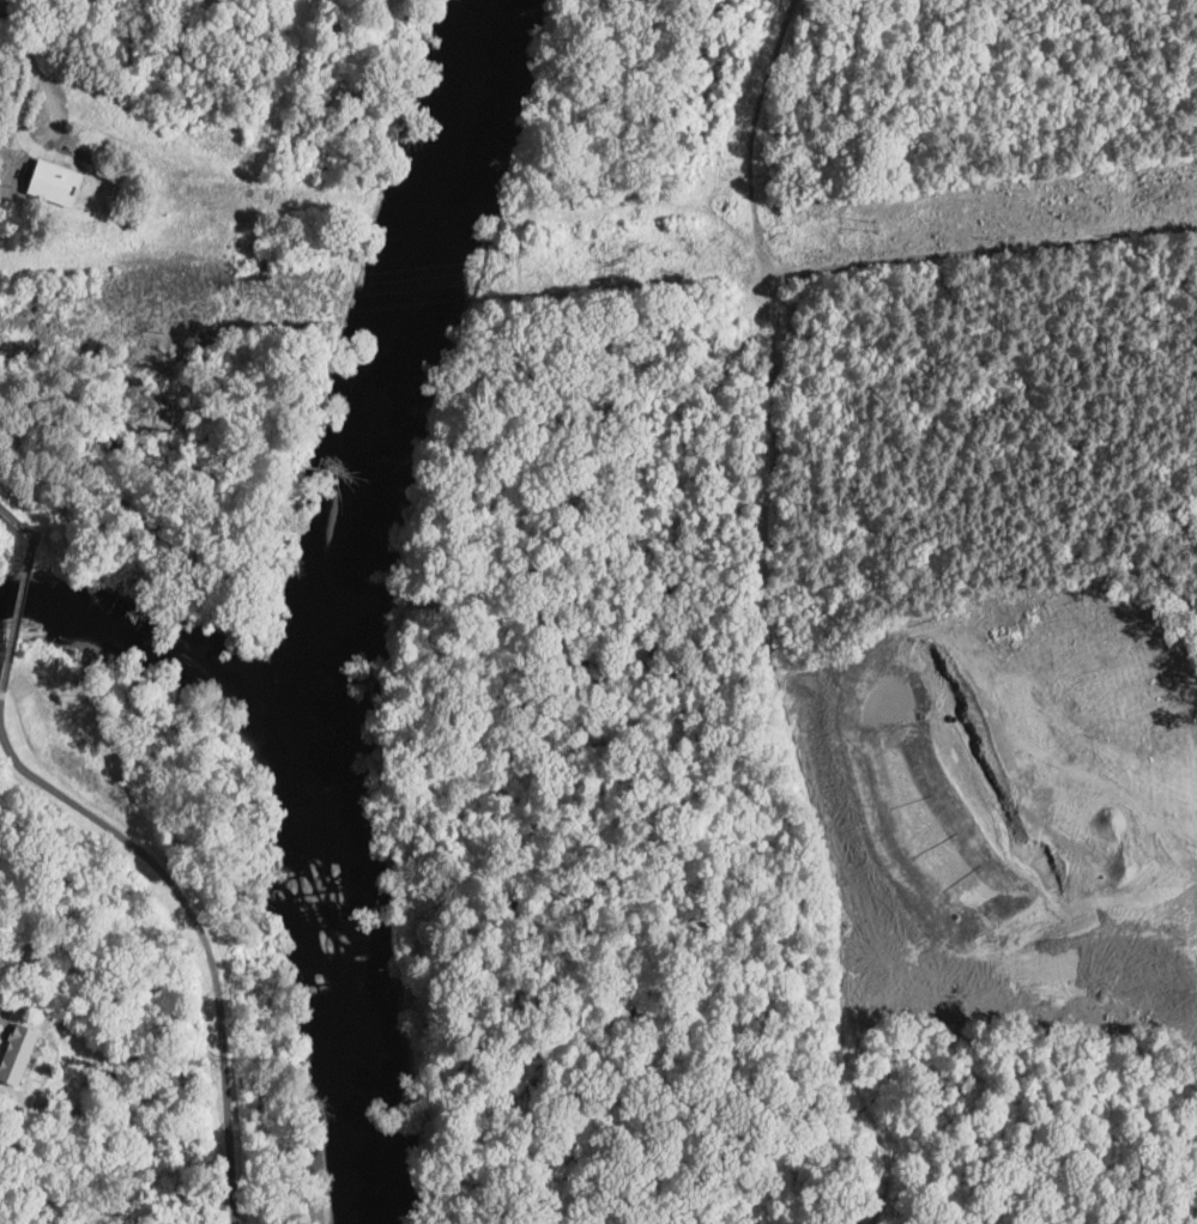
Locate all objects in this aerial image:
road: (268, 74)
road: (24, 122)
building: (55, 183)
power tower: (875, 224)
road: (1020, 259)
power tower: (283, 289)
park: (180, 308)
building: (725, 313)
building: (738, 313)
road: (120, 498)
road: (17, 517)
river: (350, 606)
road: (19, 610)
road: (1, 695)
park: (123, 849)
road: (1066, 854)
road: (199, 928)
building: (17, 1053)

